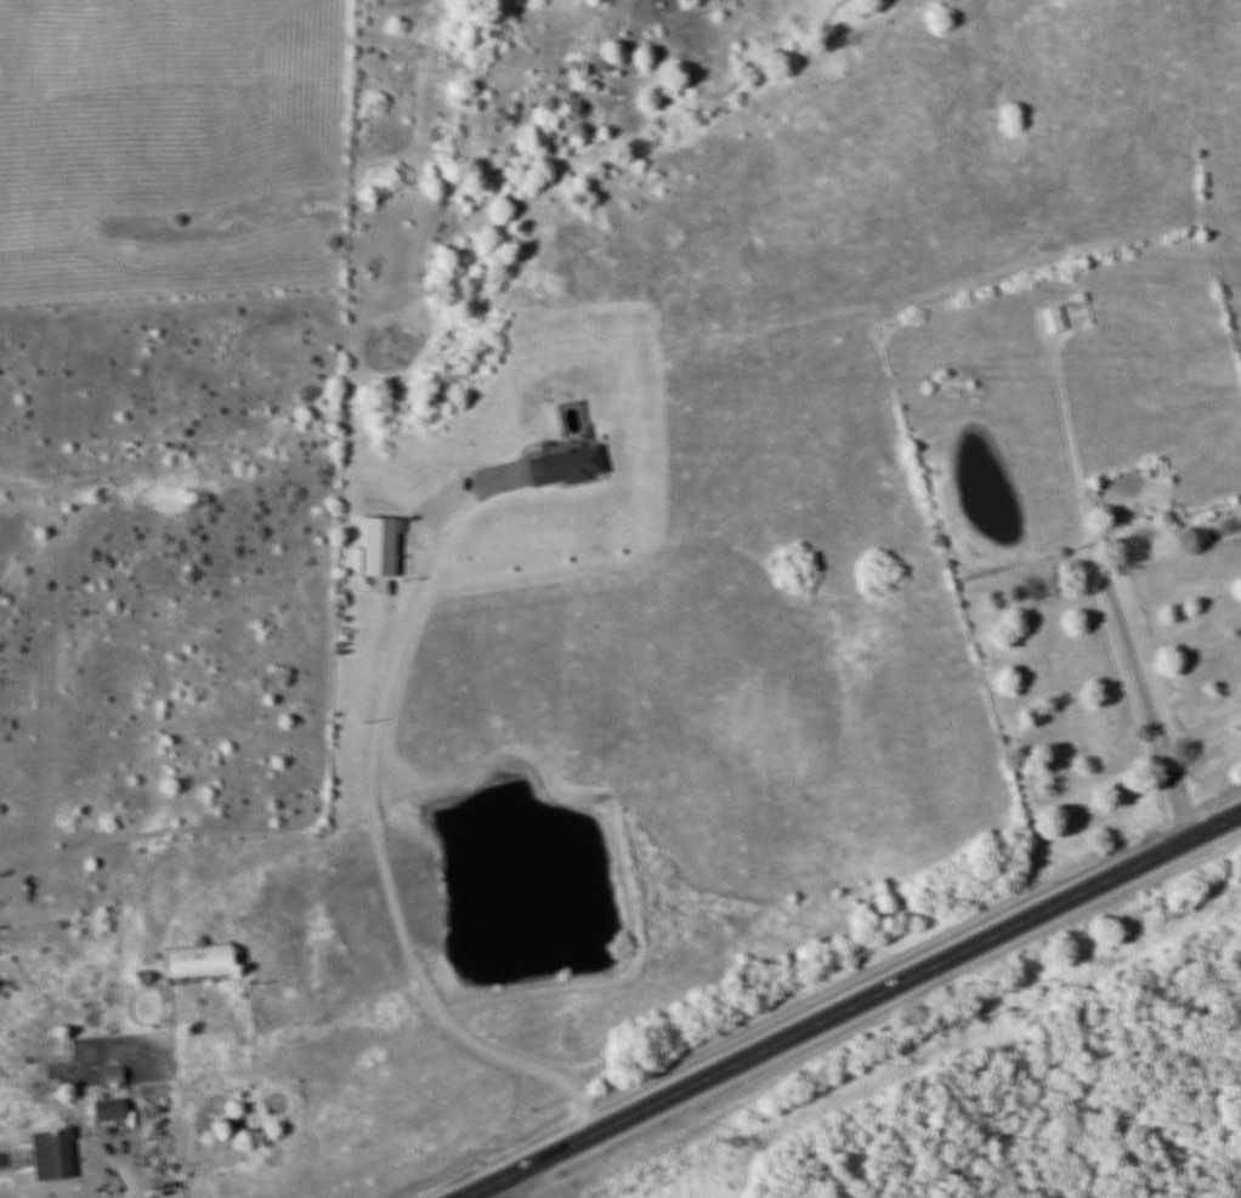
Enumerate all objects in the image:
building: (1050, 319)
building: (559, 465)
building: (1002, 529)
road: (375, 858)
building: (191, 960)
road: (851, 1004)
building: (107, 1074)
building: (106, 1108)
building: (47, 1153)
road: (119, 1183)
road: (491, 1192)

